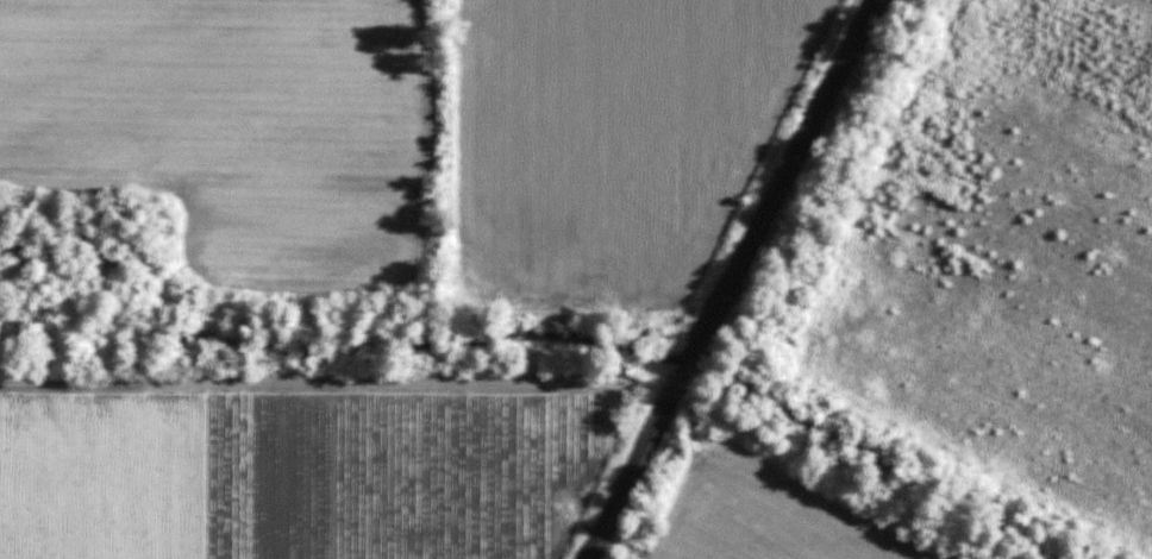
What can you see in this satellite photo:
railway: (787, 167)
railway: (689, 356)
railway: (631, 467)

